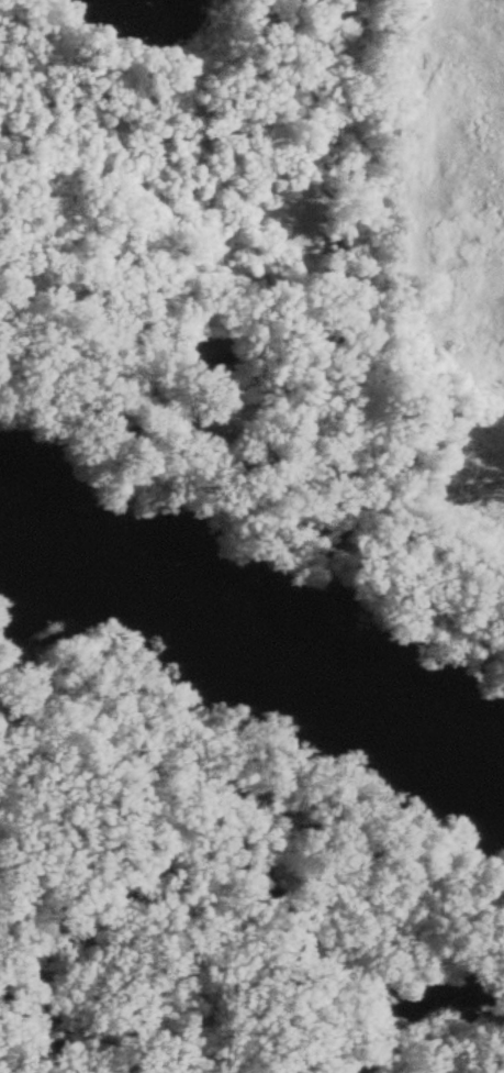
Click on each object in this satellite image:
road: (350, 277)
river: (253, 637)
river: (137, 796)

